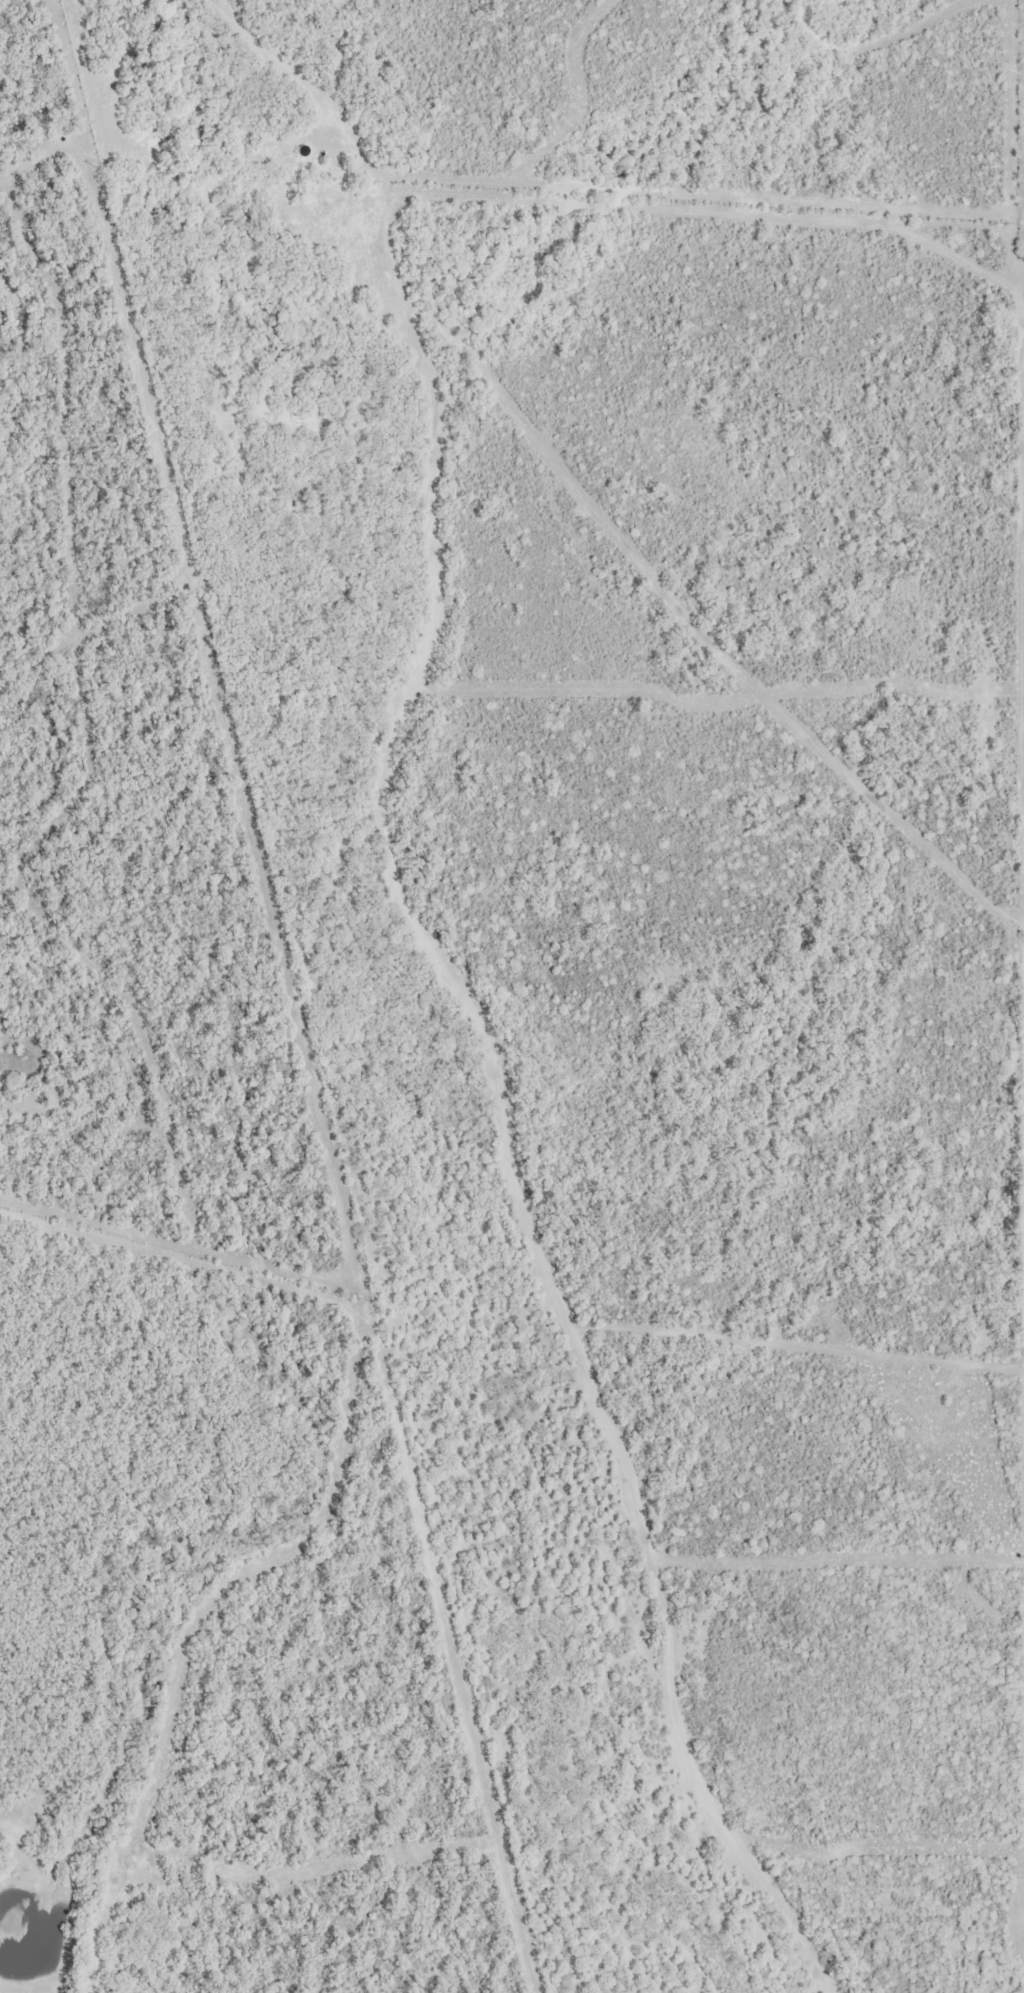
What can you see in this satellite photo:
road: (1019, 107)
road: (85, 642)
road: (389, 823)
road: (1021, 1908)

